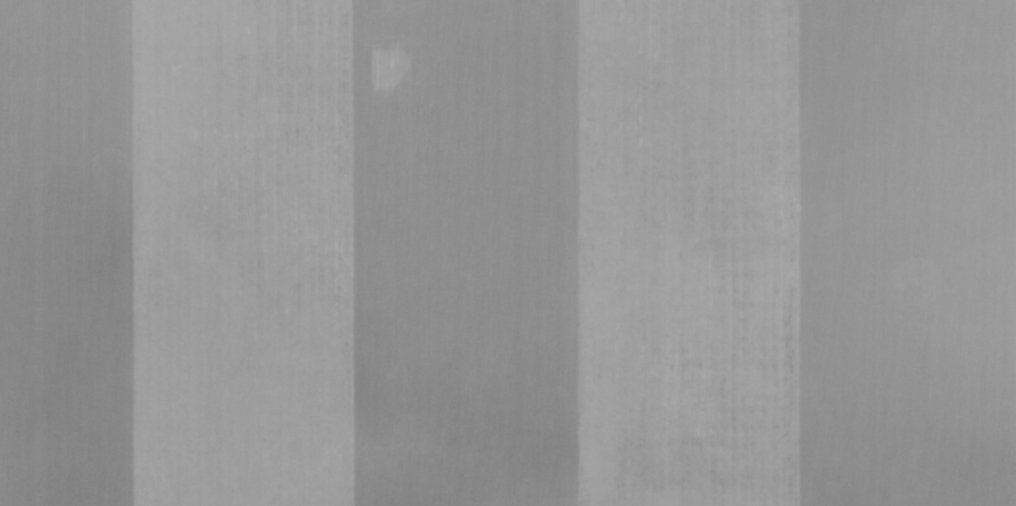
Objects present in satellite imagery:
crop: (508, 253)

